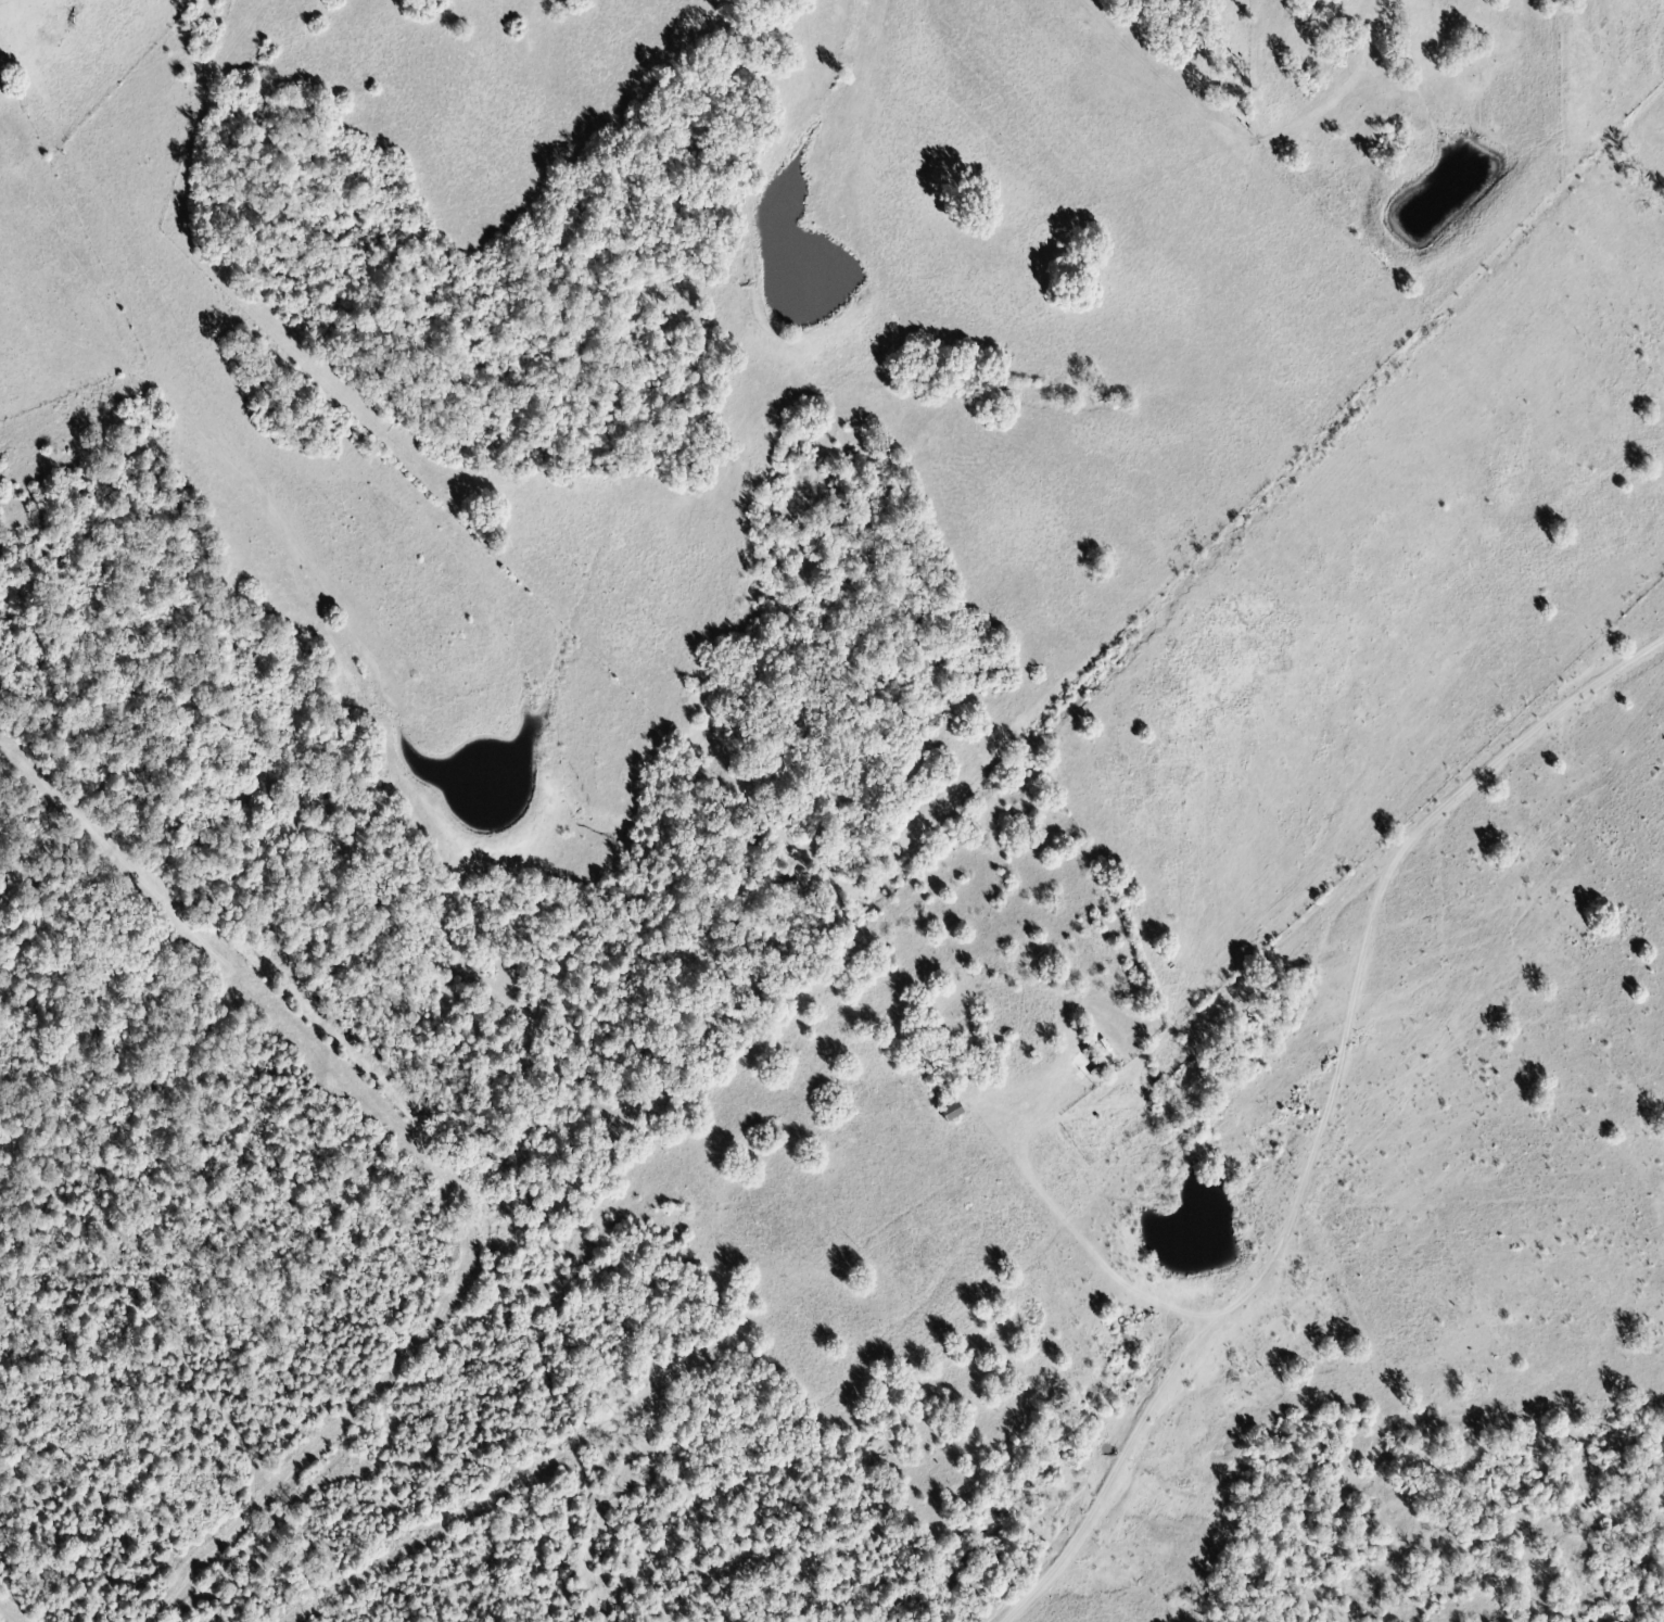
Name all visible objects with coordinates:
road: (1412, 890)

